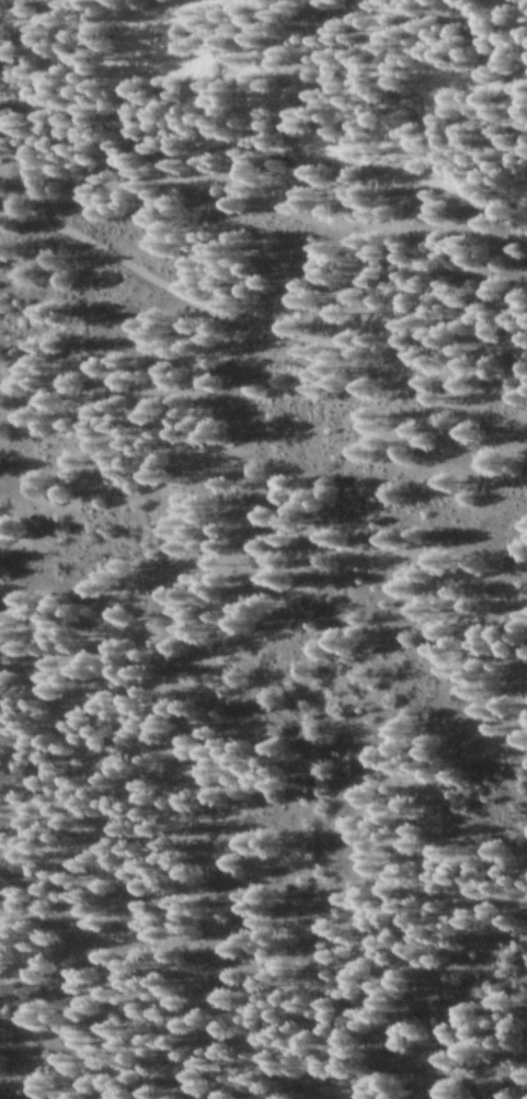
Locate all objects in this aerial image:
road: (260, 328)

